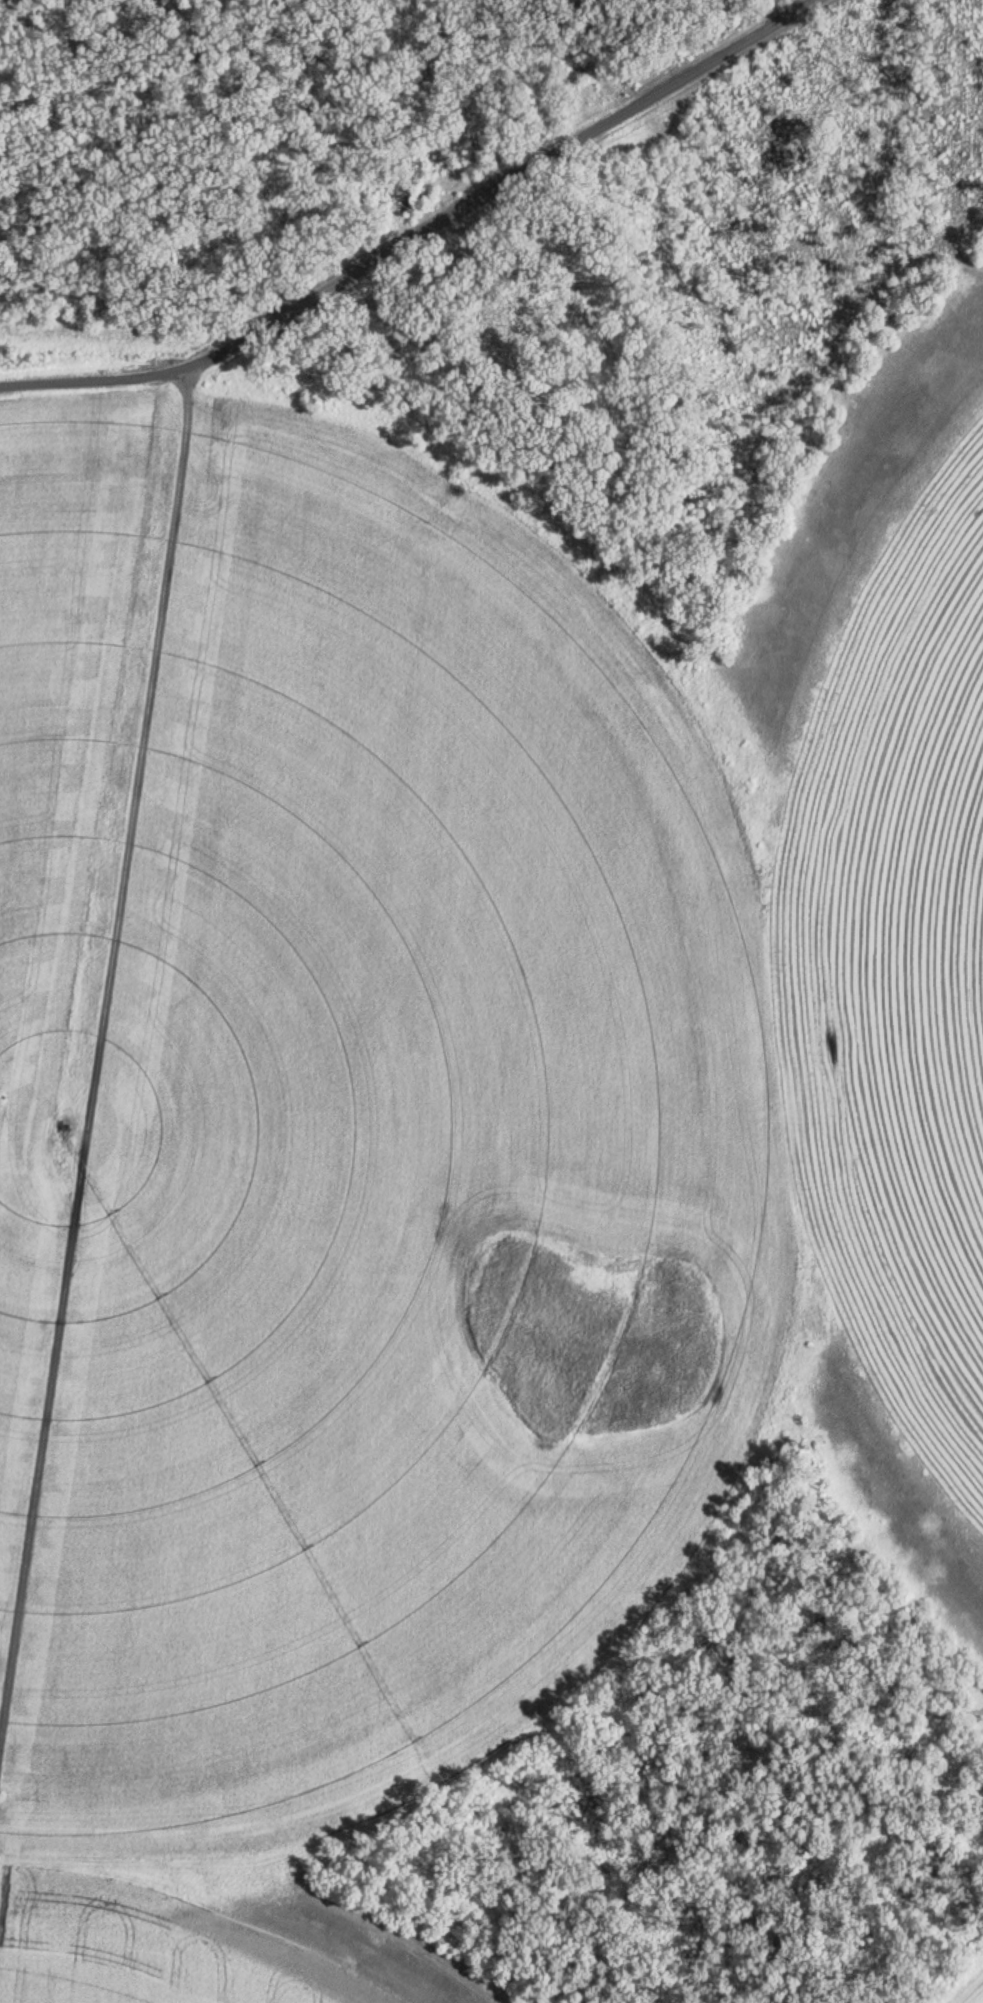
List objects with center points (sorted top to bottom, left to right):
road: (162, 192)
road: (413, 235)
wastewater plant: (512, 1088)

